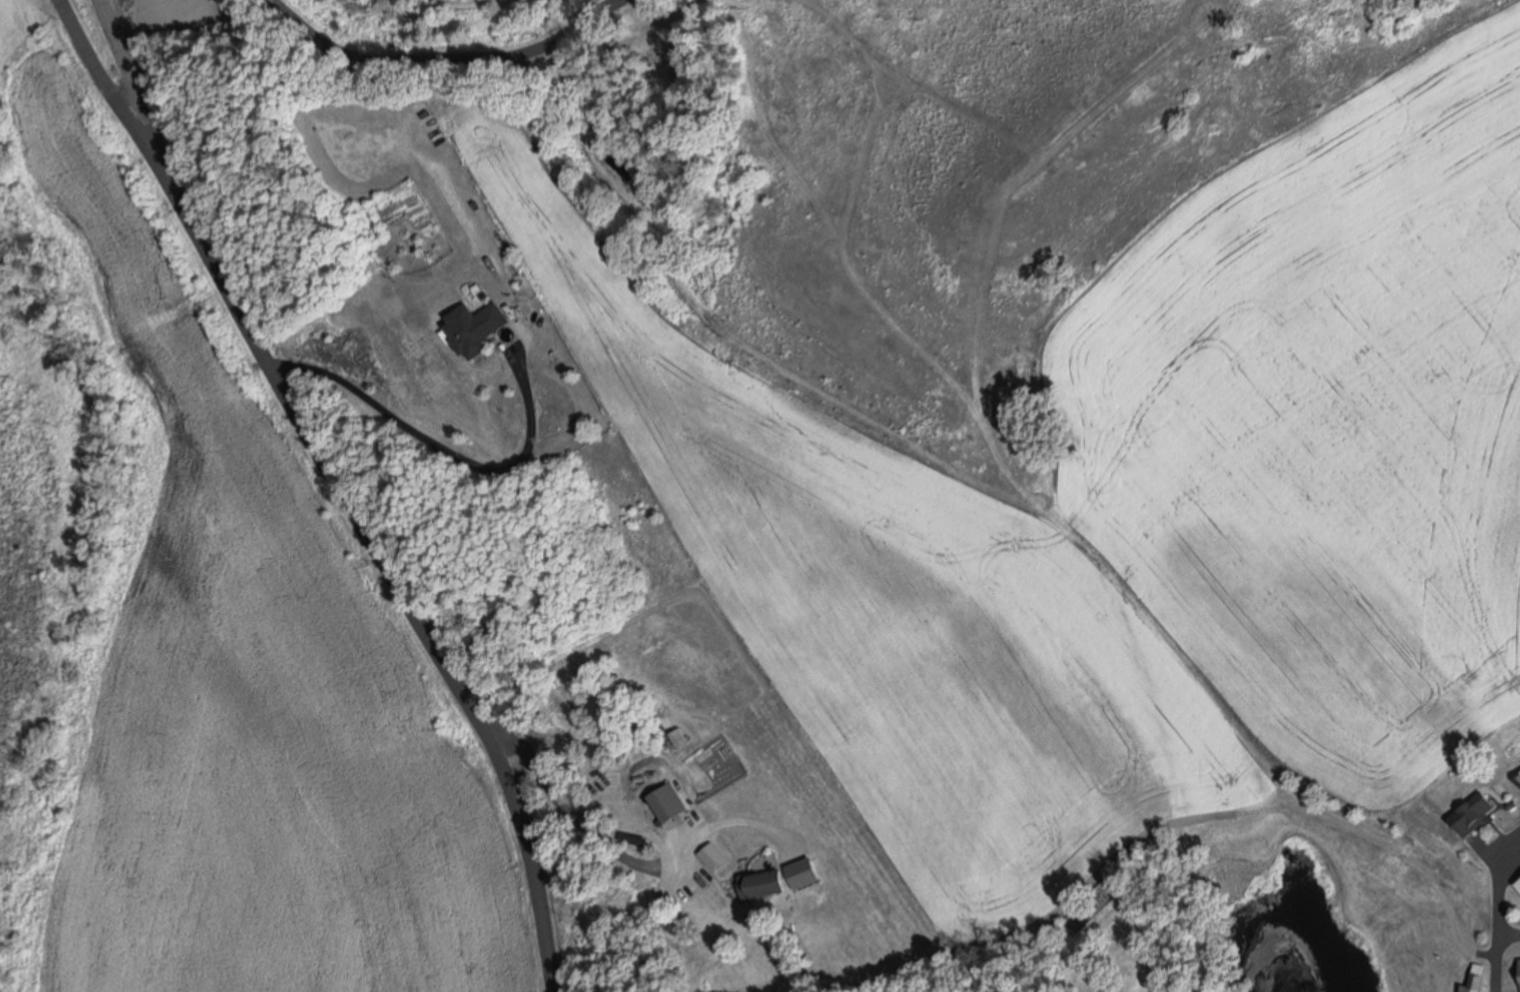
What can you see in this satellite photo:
road: (440, 54)
road: (125, 58)
building: (474, 325)
road: (447, 455)
road: (329, 480)
building: (1517, 778)
building: (666, 801)
building: (1474, 812)
building: (711, 854)
road: (623, 860)
building: (764, 881)
building: (1518, 882)
road: (1475, 898)

